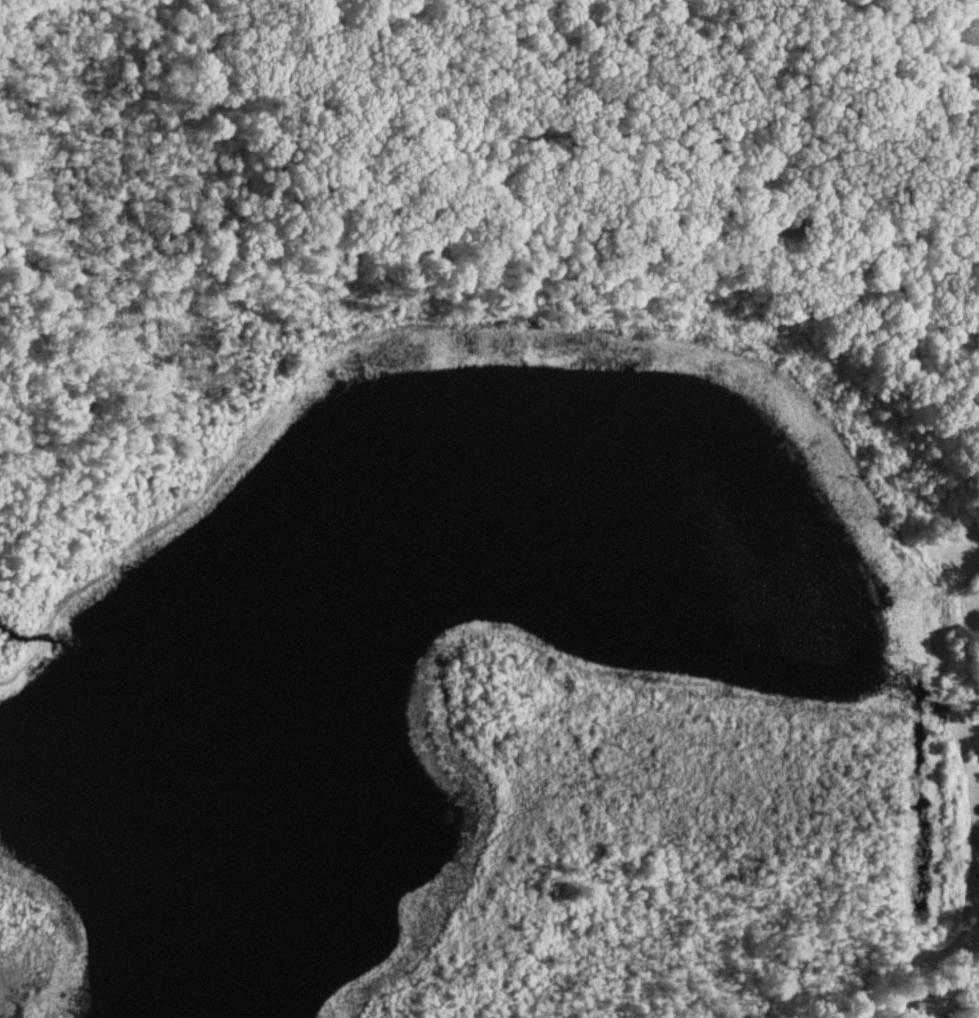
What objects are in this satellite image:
building: (937, 1006)

